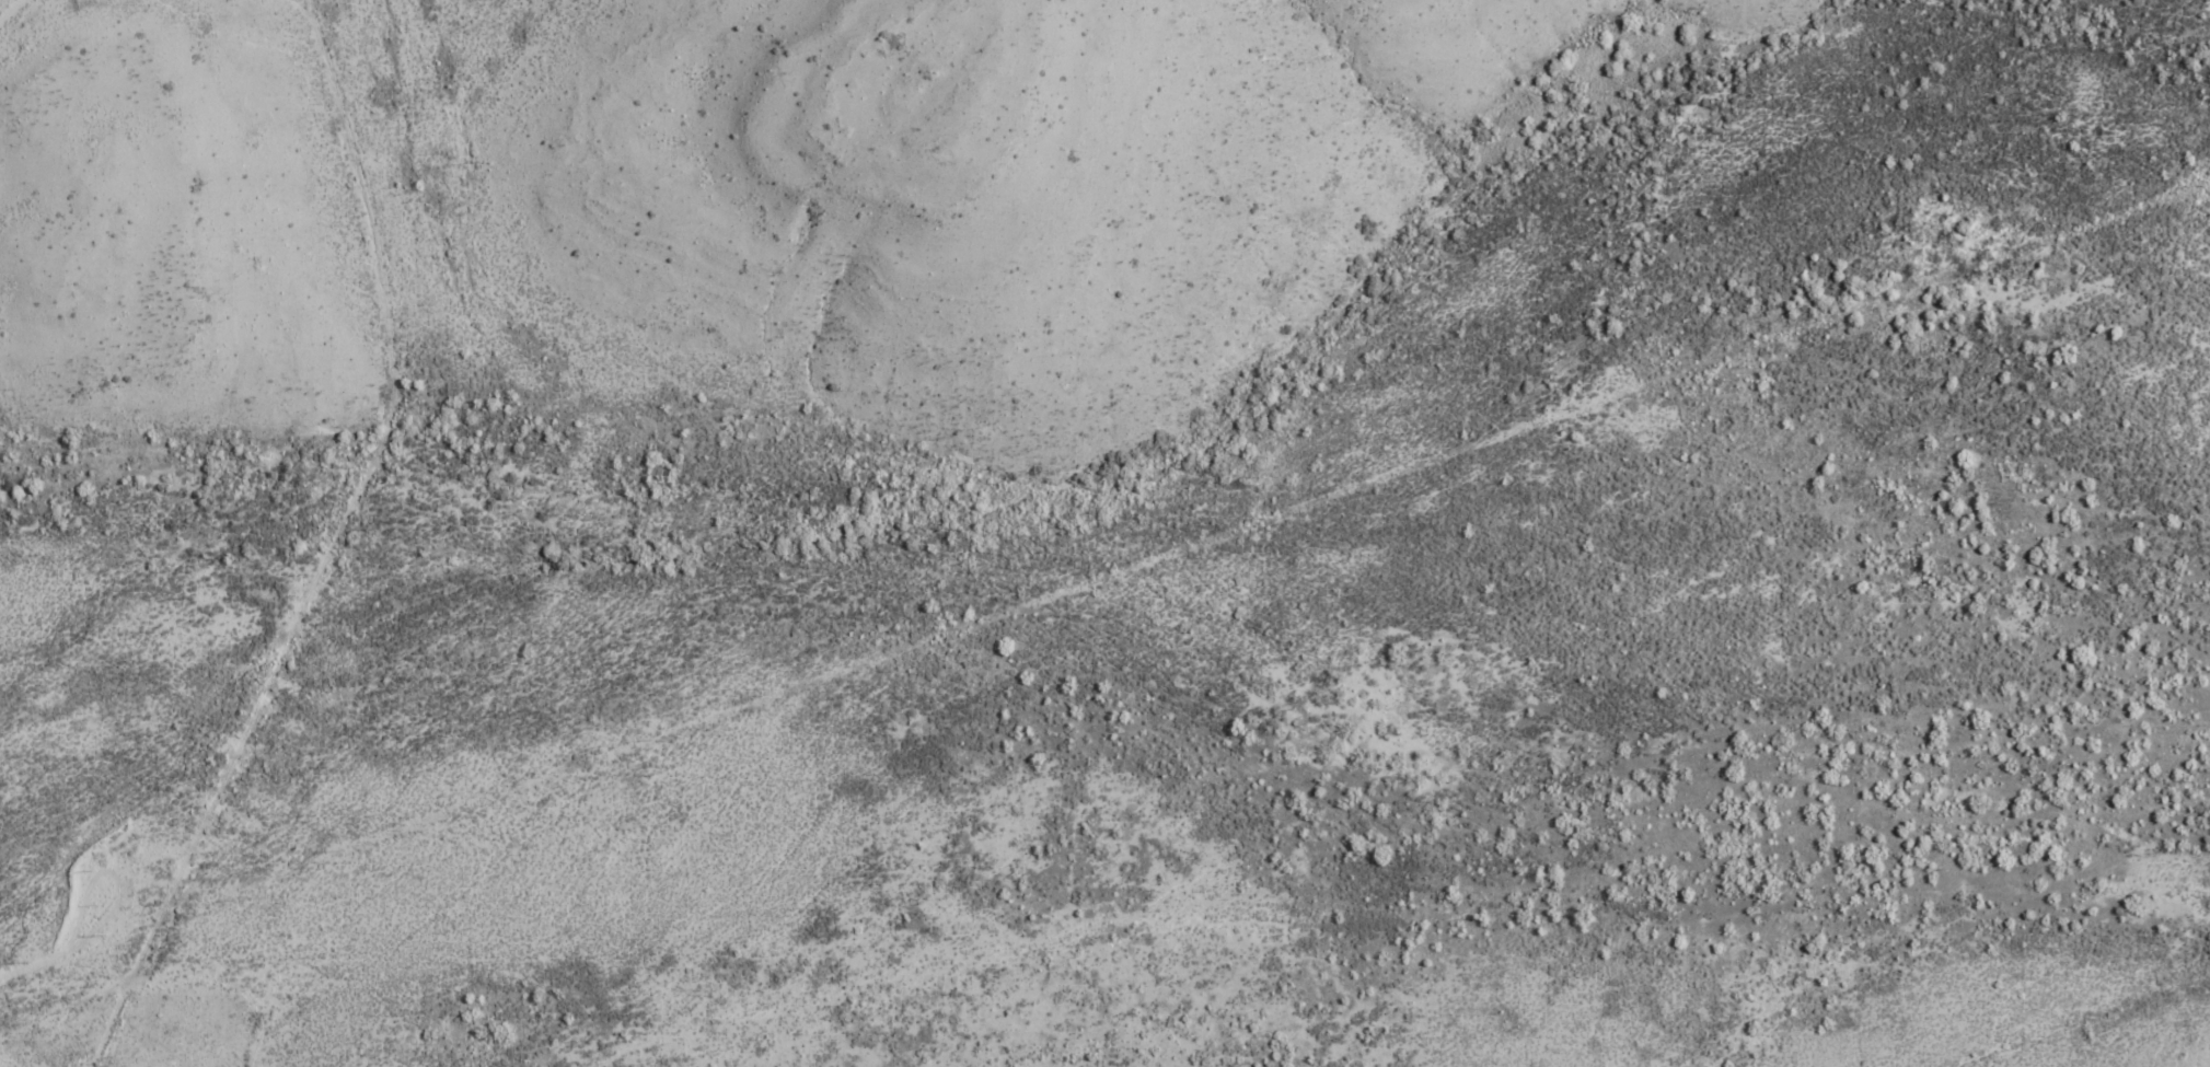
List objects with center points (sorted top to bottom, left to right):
road: (9, 9)
road: (370, 545)

